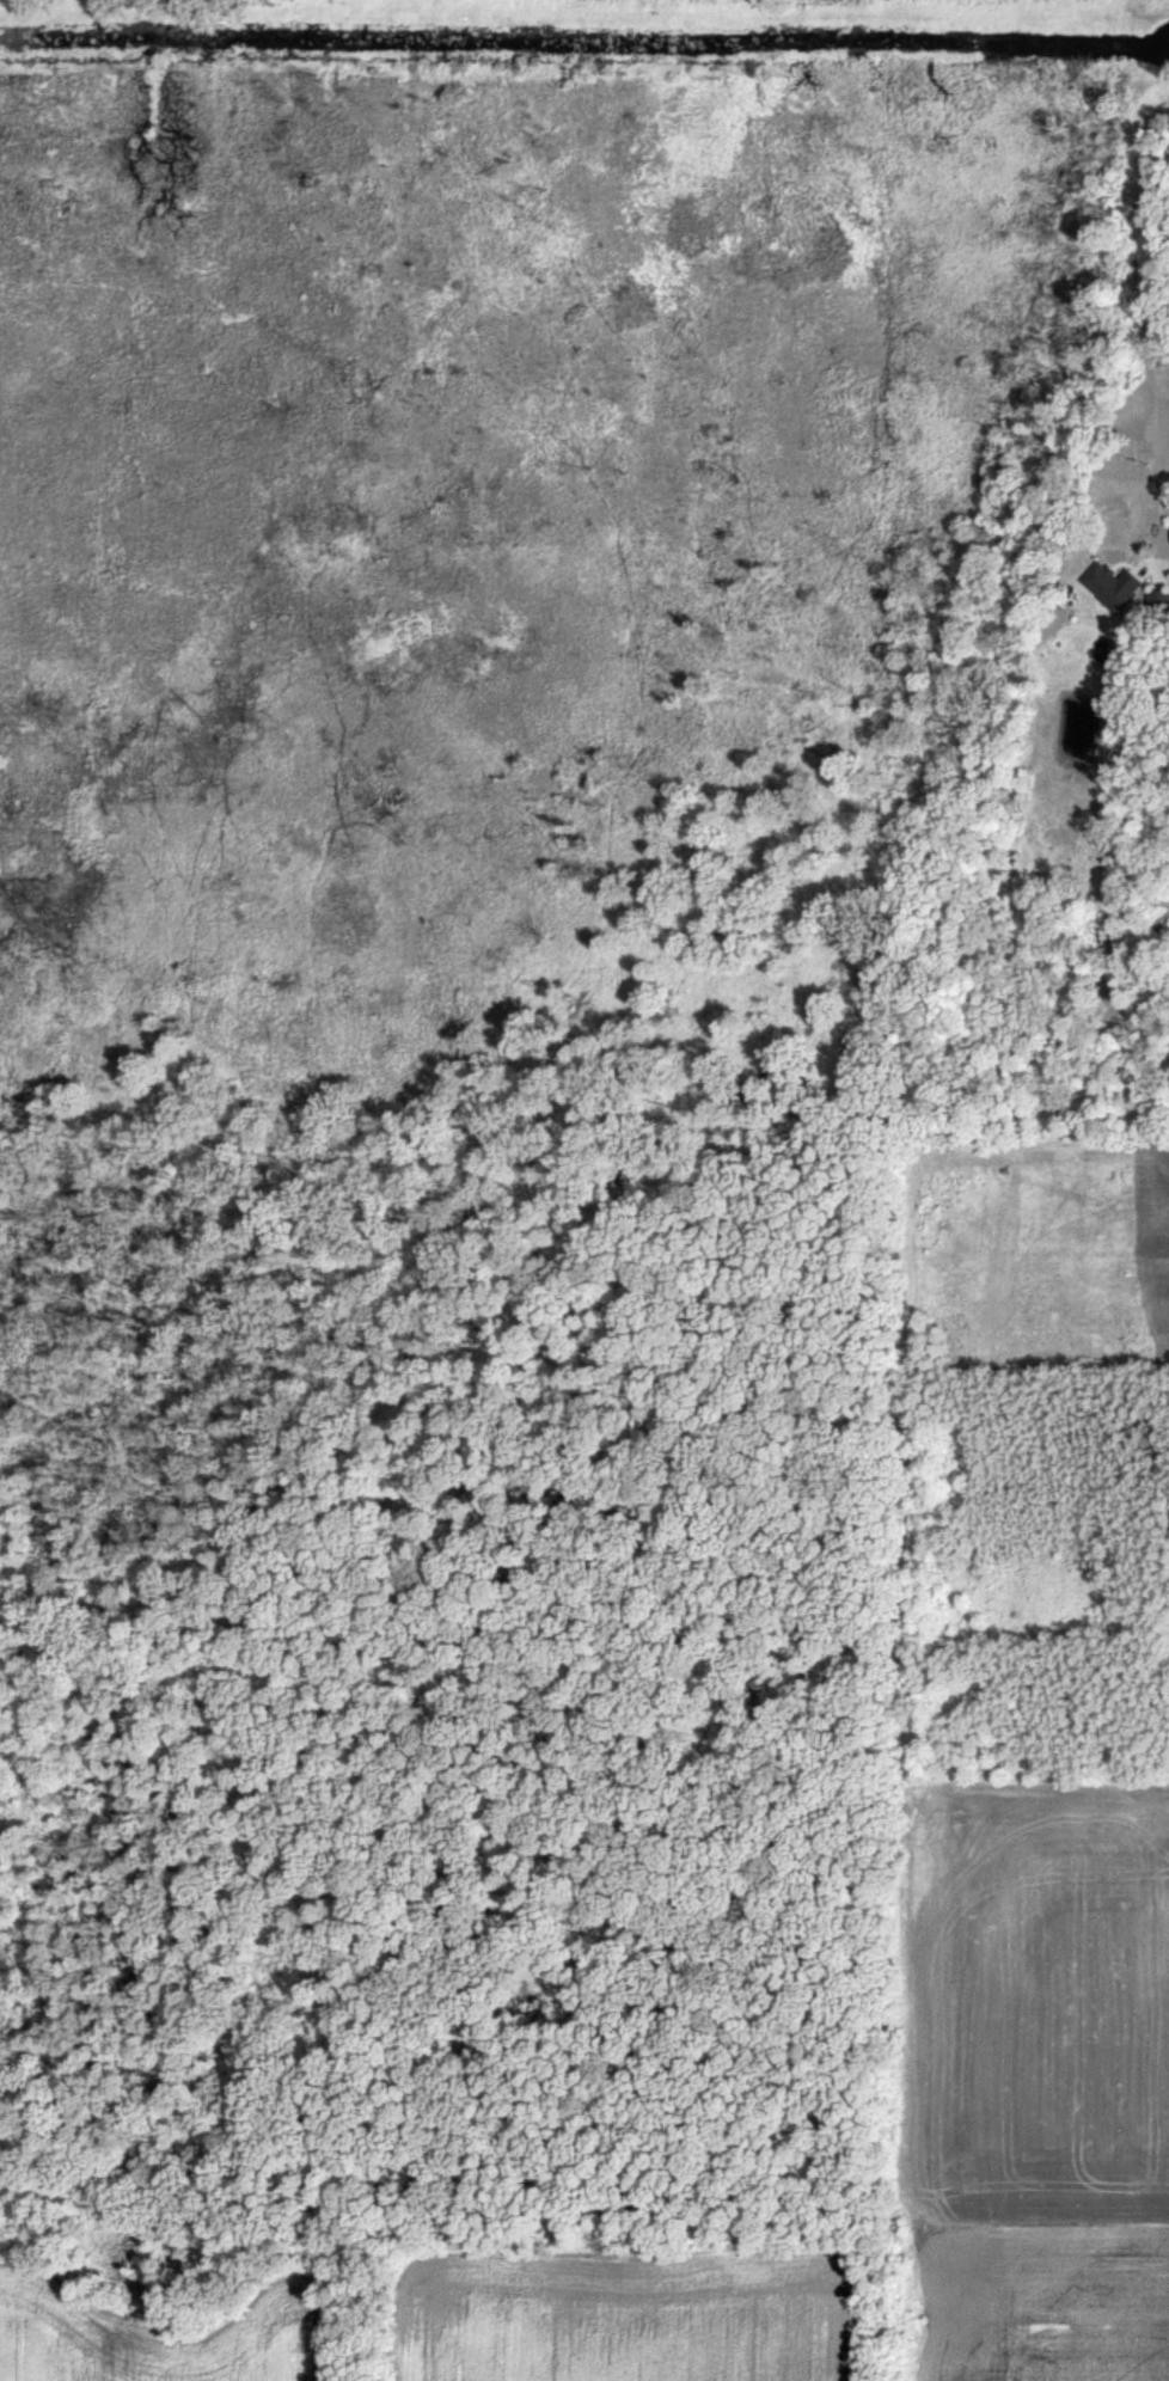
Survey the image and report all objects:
building: (1108, 586)

